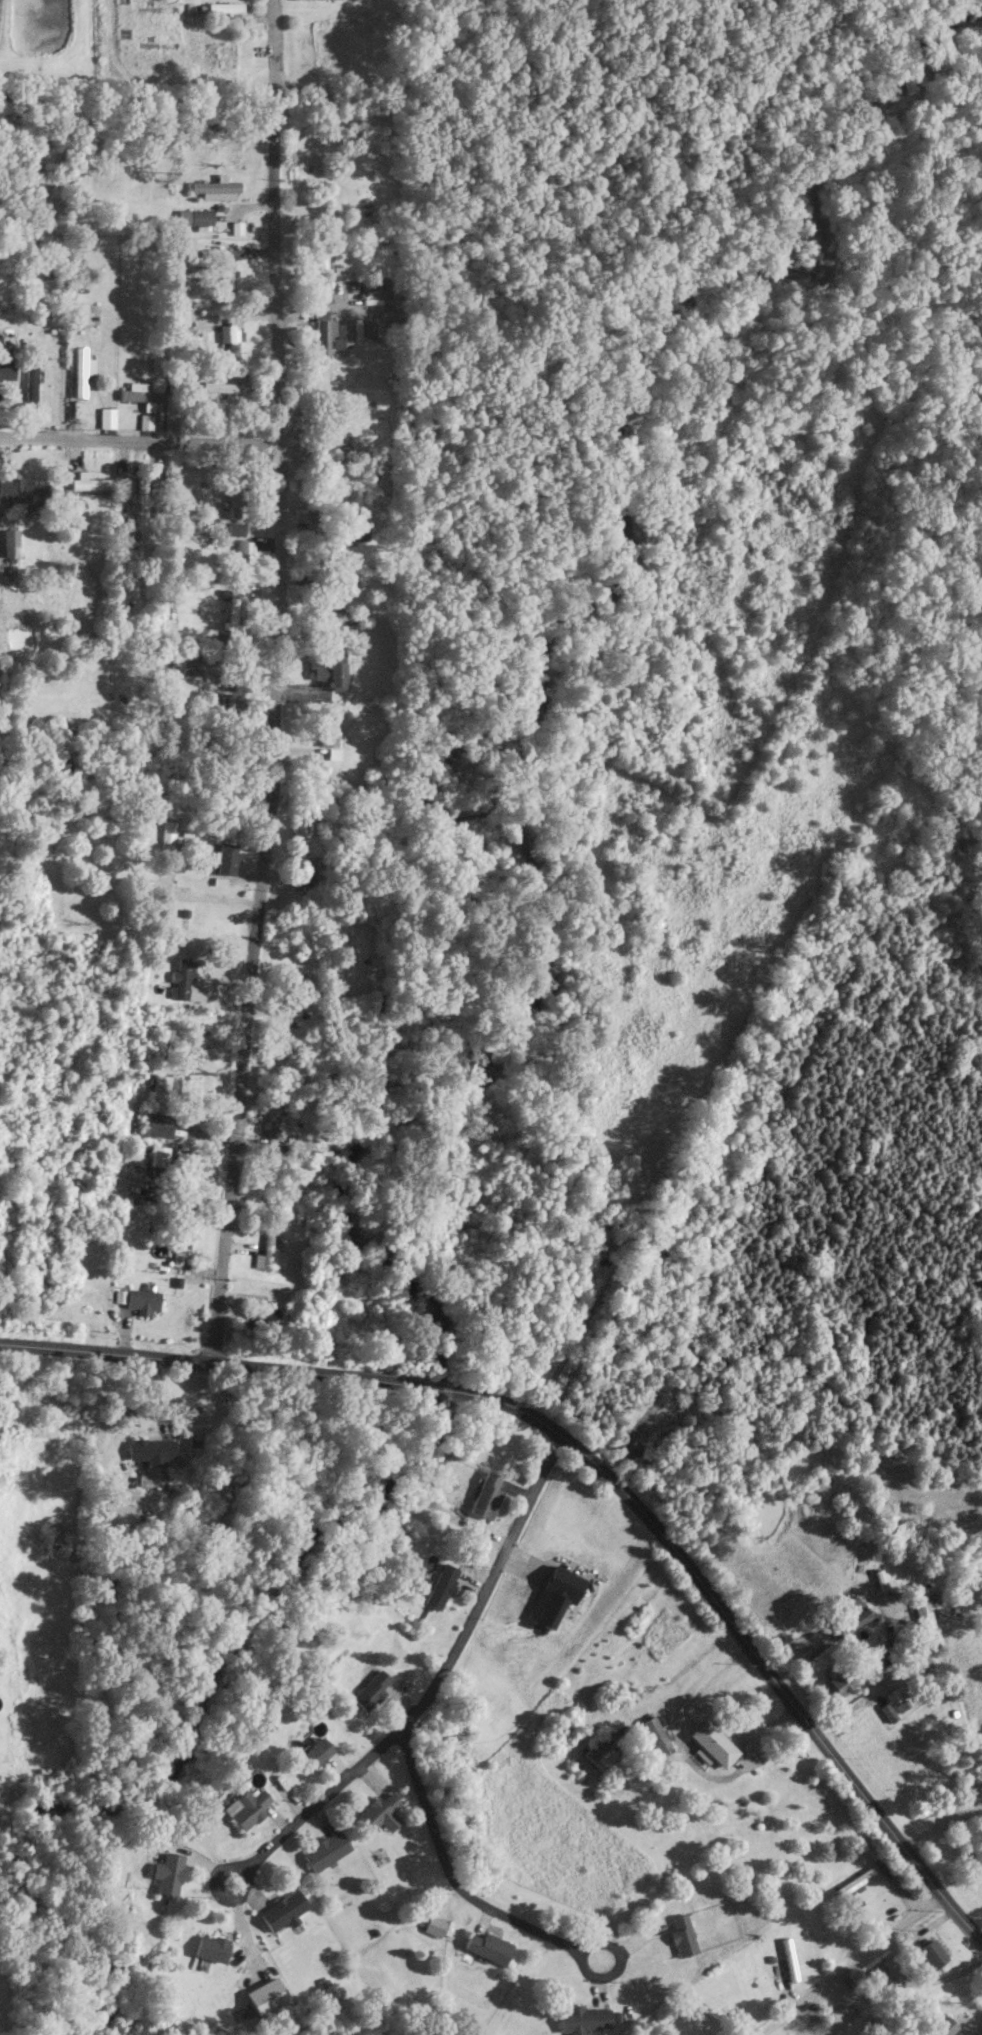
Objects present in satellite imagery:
building: (227, 8)
building: (217, 188)
building: (196, 216)
building: (325, 273)
building: (227, 275)
building: (33, 286)
building: (380, 286)
building: (85, 313)
building: (328, 335)
building: (233, 337)
road: (62, 346)
building: (7, 368)
building: (83, 369)
building: (32, 380)
building: (225, 386)
building: (149, 406)
building: (109, 416)
road: (140, 444)
building: (338, 474)
building: (92, 480)
building: (23, 489)
building: (236, 496)
building: (141, 499)
building: (348, 534)
building: (12, 542)
building: (243, 554)
building: (342, 611)
building: (234, 615)
building: (195, 663)
building: (331, 668)
road: (278, 682)
building: (231, 708)
building: (330, 736)
building: (215, 748)
building: (302, 834)
building: (227, 861)
building: (304, 876)
building: (185, 980)
building: (301, 989)
building: (166, 1042)
building: (161, 1106)
building: (274, 1116)
building: (159, 1155)
building: (189, 1166)
building: (607, 1225)
building: (267, 1251)
building: (140, 1299)
building: (263, 1320)
road: (581, 1327)
road: (211, 1361)
road: (439, 1387)
building: (57, 1401)
road: (118, 1419)
building: (153, 1450)
building: (488, 1495)
building: (120, 1513)
road: (488, 1583)
building: (443, 1586)
building: (920, 1609)
building: (850, 1617)
road: (740, 1636)
building: (920, 1661)
building: (841, 1681)
road: (877, 1688)
building: (374, 1690)
building: (894, 1695)
building: (886, 1712)
building: (564, 1727)
building: (653, 1734)
building: (711, 1742)
building: (313, 1751)
building: (596, 1753)
road: (977, 1802)
road: (315, 1805)
building: (246, 1807)
building: (375, 1809)
road: (940, 1821)
building: (324, 1850)
building: (165, 1873)
road: (450, 1875)
building: (851, 1885)
building: (281, 1910)
building: (432, 1926)
building: (680, 1936)
building: (486, 1947)
building: (209, 1948)
building: (929, 1953)
building: (789, 1959)
road: (618, 1962)
road: (851, 1964)
road: (896, 1973)
building: (879, 1979)
building: (264, 1997)
building: (581, 2019)
road: (969, 2026)
building: (941, 2027)
building: (860, 2031)
building: (981, 2034)

